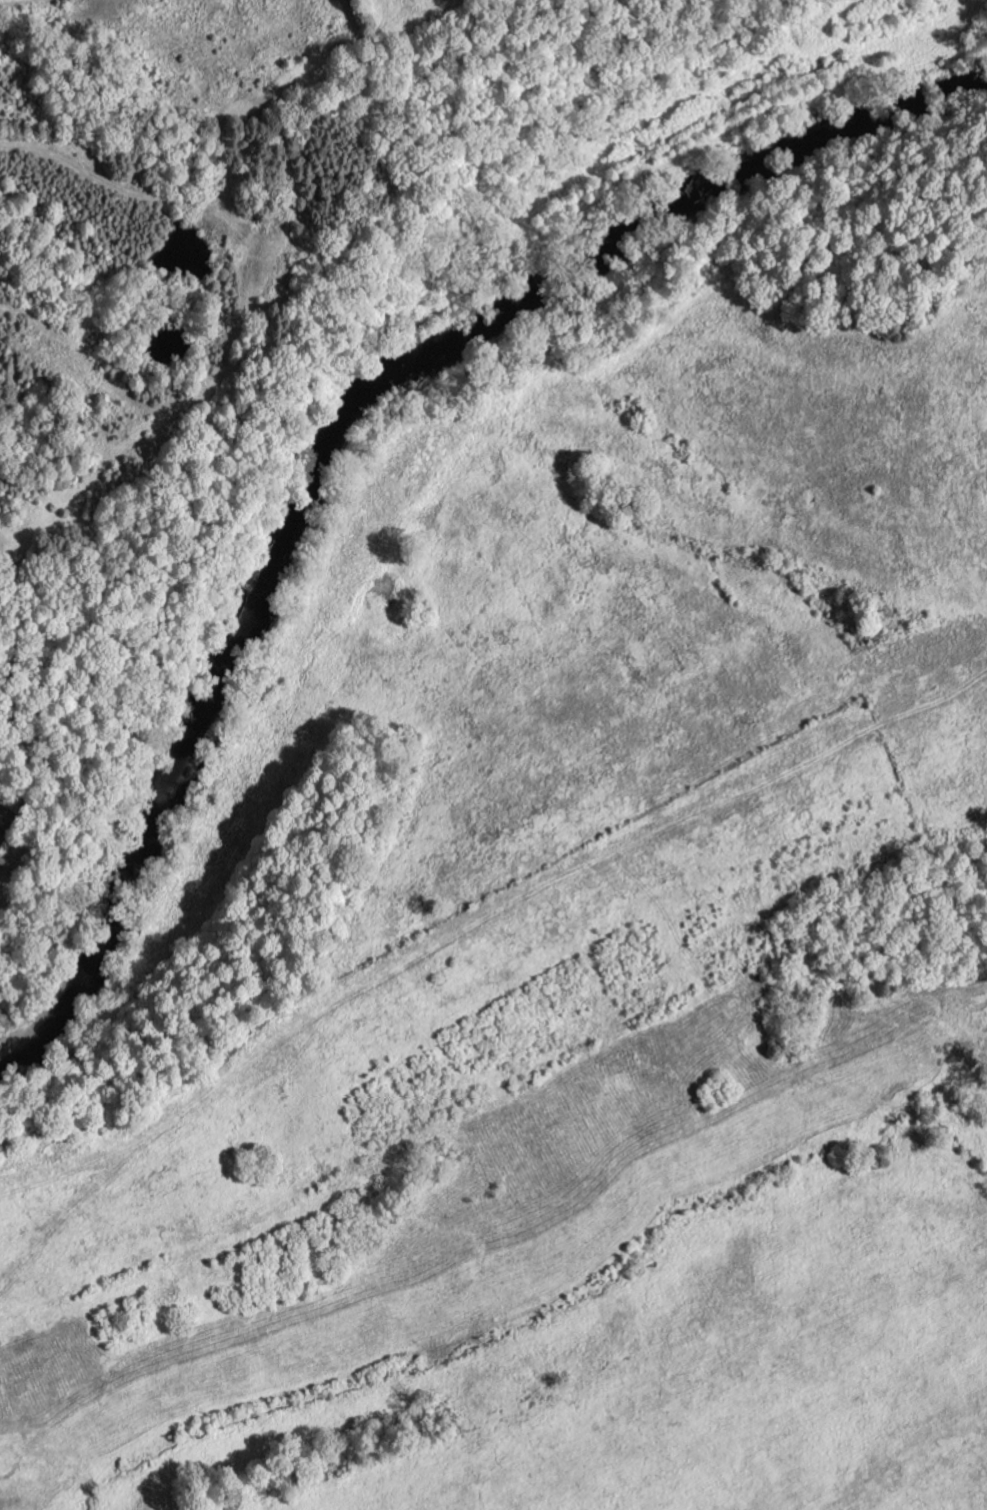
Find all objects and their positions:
road: (26, 5)
building: (1, 858)

